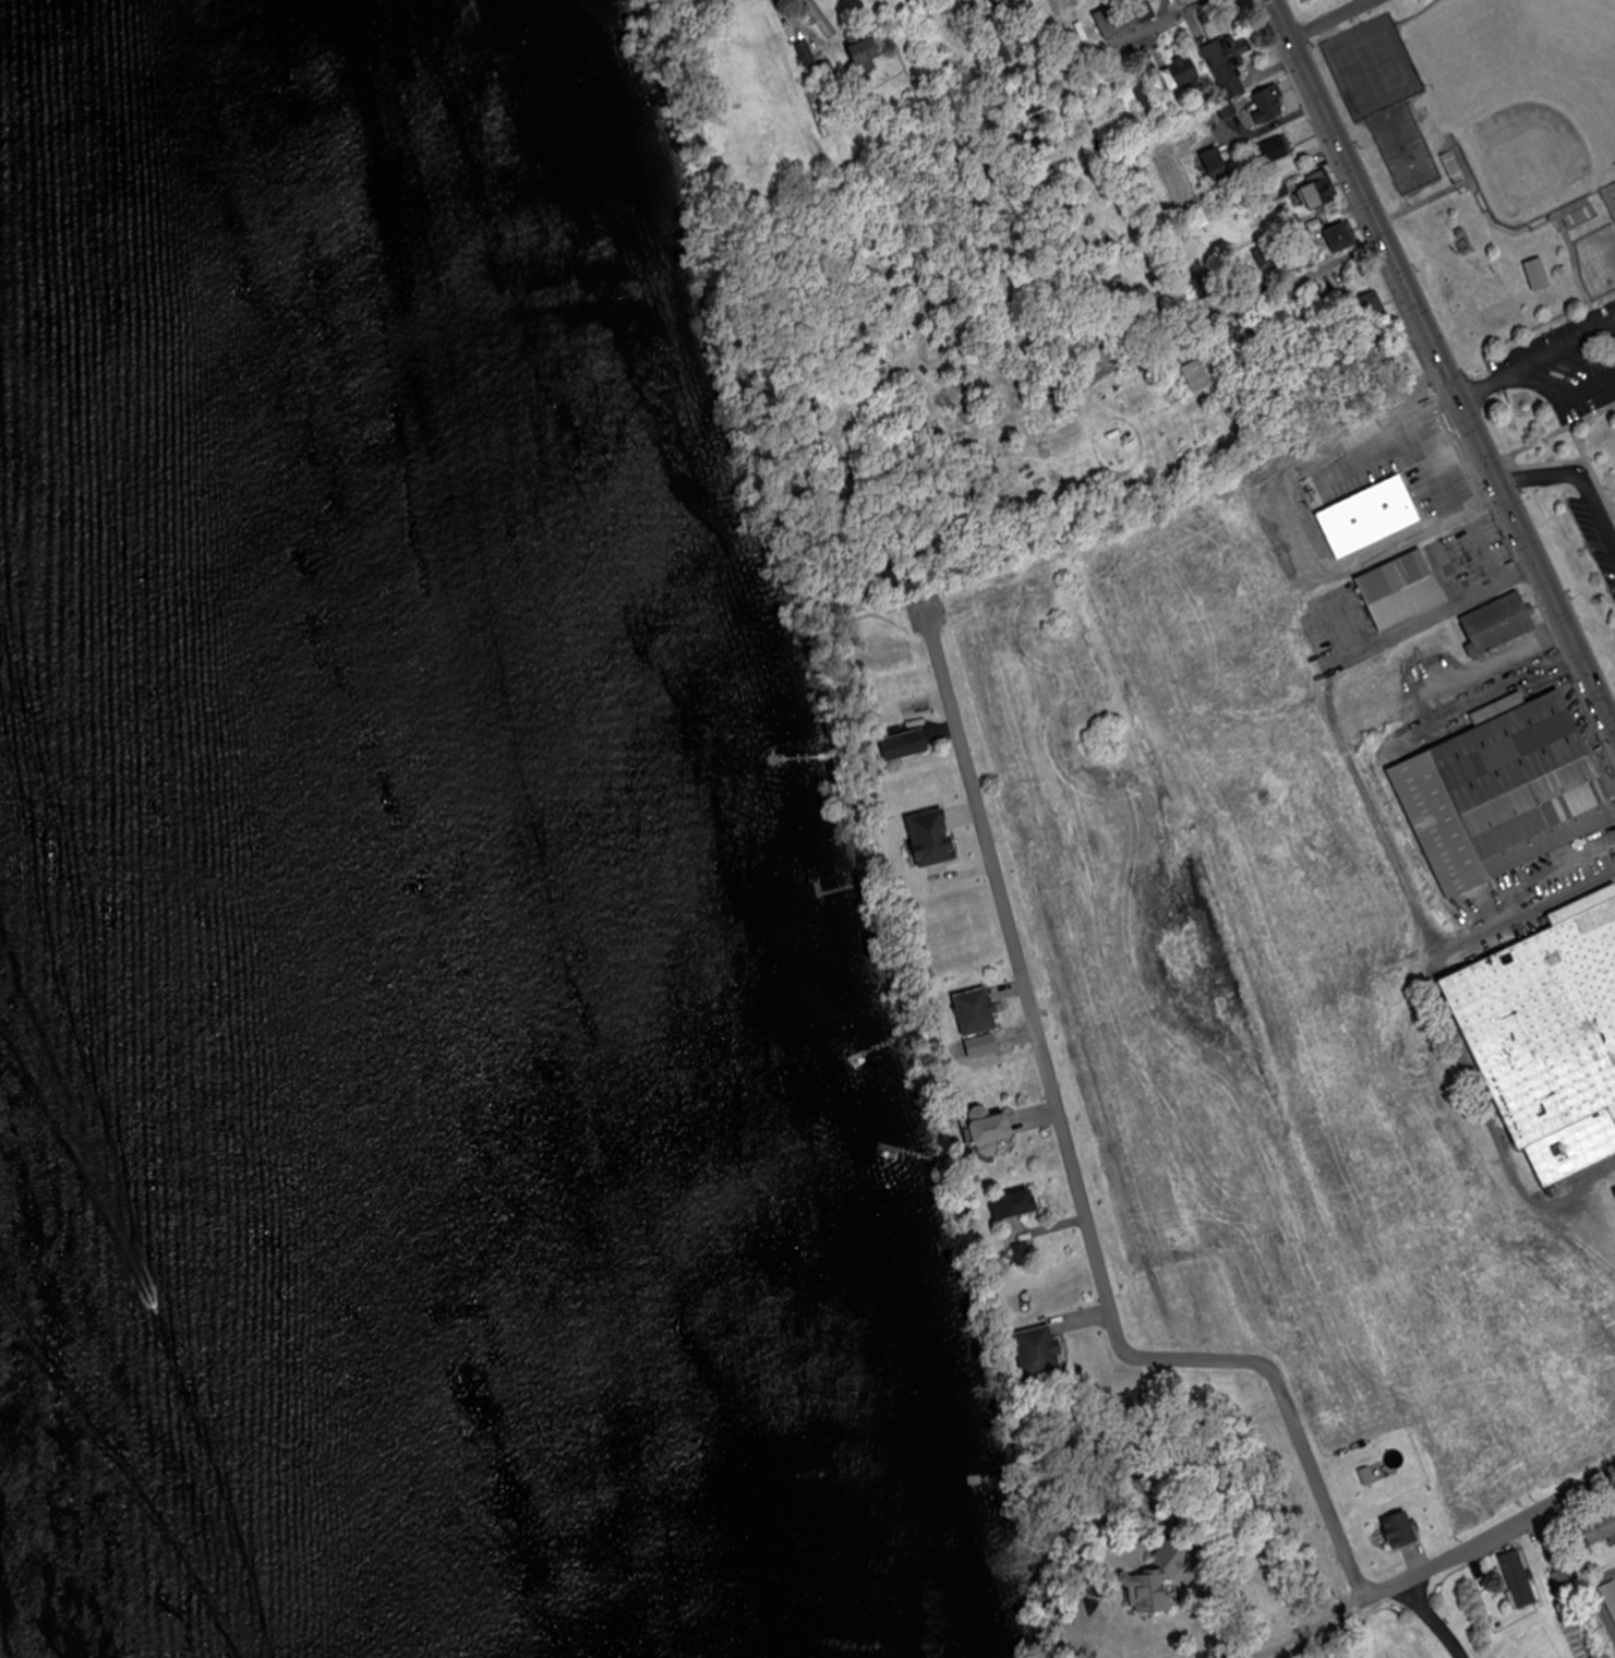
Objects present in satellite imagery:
building: (1125, 17)
road: (1335, 20)
road: (1133, 39)
building: (865, 51)
building: (807, 53)
building: (1229, 65)
park: (1374, 65)
building: (828, 73)
building: (1183, 76)
park: (1523, 96)
building: (1144, 97)
building: (1269, 104)
park: (1395, 128)
building: (1277, 149)
building: (1052, 157)
building: (1217, 165)
building: (1455, 166)
park: (1413, 167)
building: (1319, 191)
road: (1369, 199)
building: (1581, 215)
building: (1341, 239)
park: (1614, 302)
building: (1373, 309)
park: (1557, 341)
road: (1539, 359)
road: (1112, 372)
building: (1197, 375)
road: (1567, 395)
traffic signals: (1465, 397)
road: (1577, 471)
road: (1539, 562)
building: (1400, 589)
building: (1498, 623)
road: (1614, 723)
building: (905, 744)
building: (1505, 789)
river: (291, 820)
building: (932, 836)
building: (976, 1011)
building: (1548, 1034)
building: (987, 1128)
road: (1074, 1176)
building: (1015, 1203)
building: (1024, 1252)
building: (1039, 1350)
building: (1601, 1526)
building: (1400, 1530)
road: (1492, 1530)
building: (1519, 1579)
building: (1565, 1582)
building: (1610, 1596)
road: (1434, 1620)

